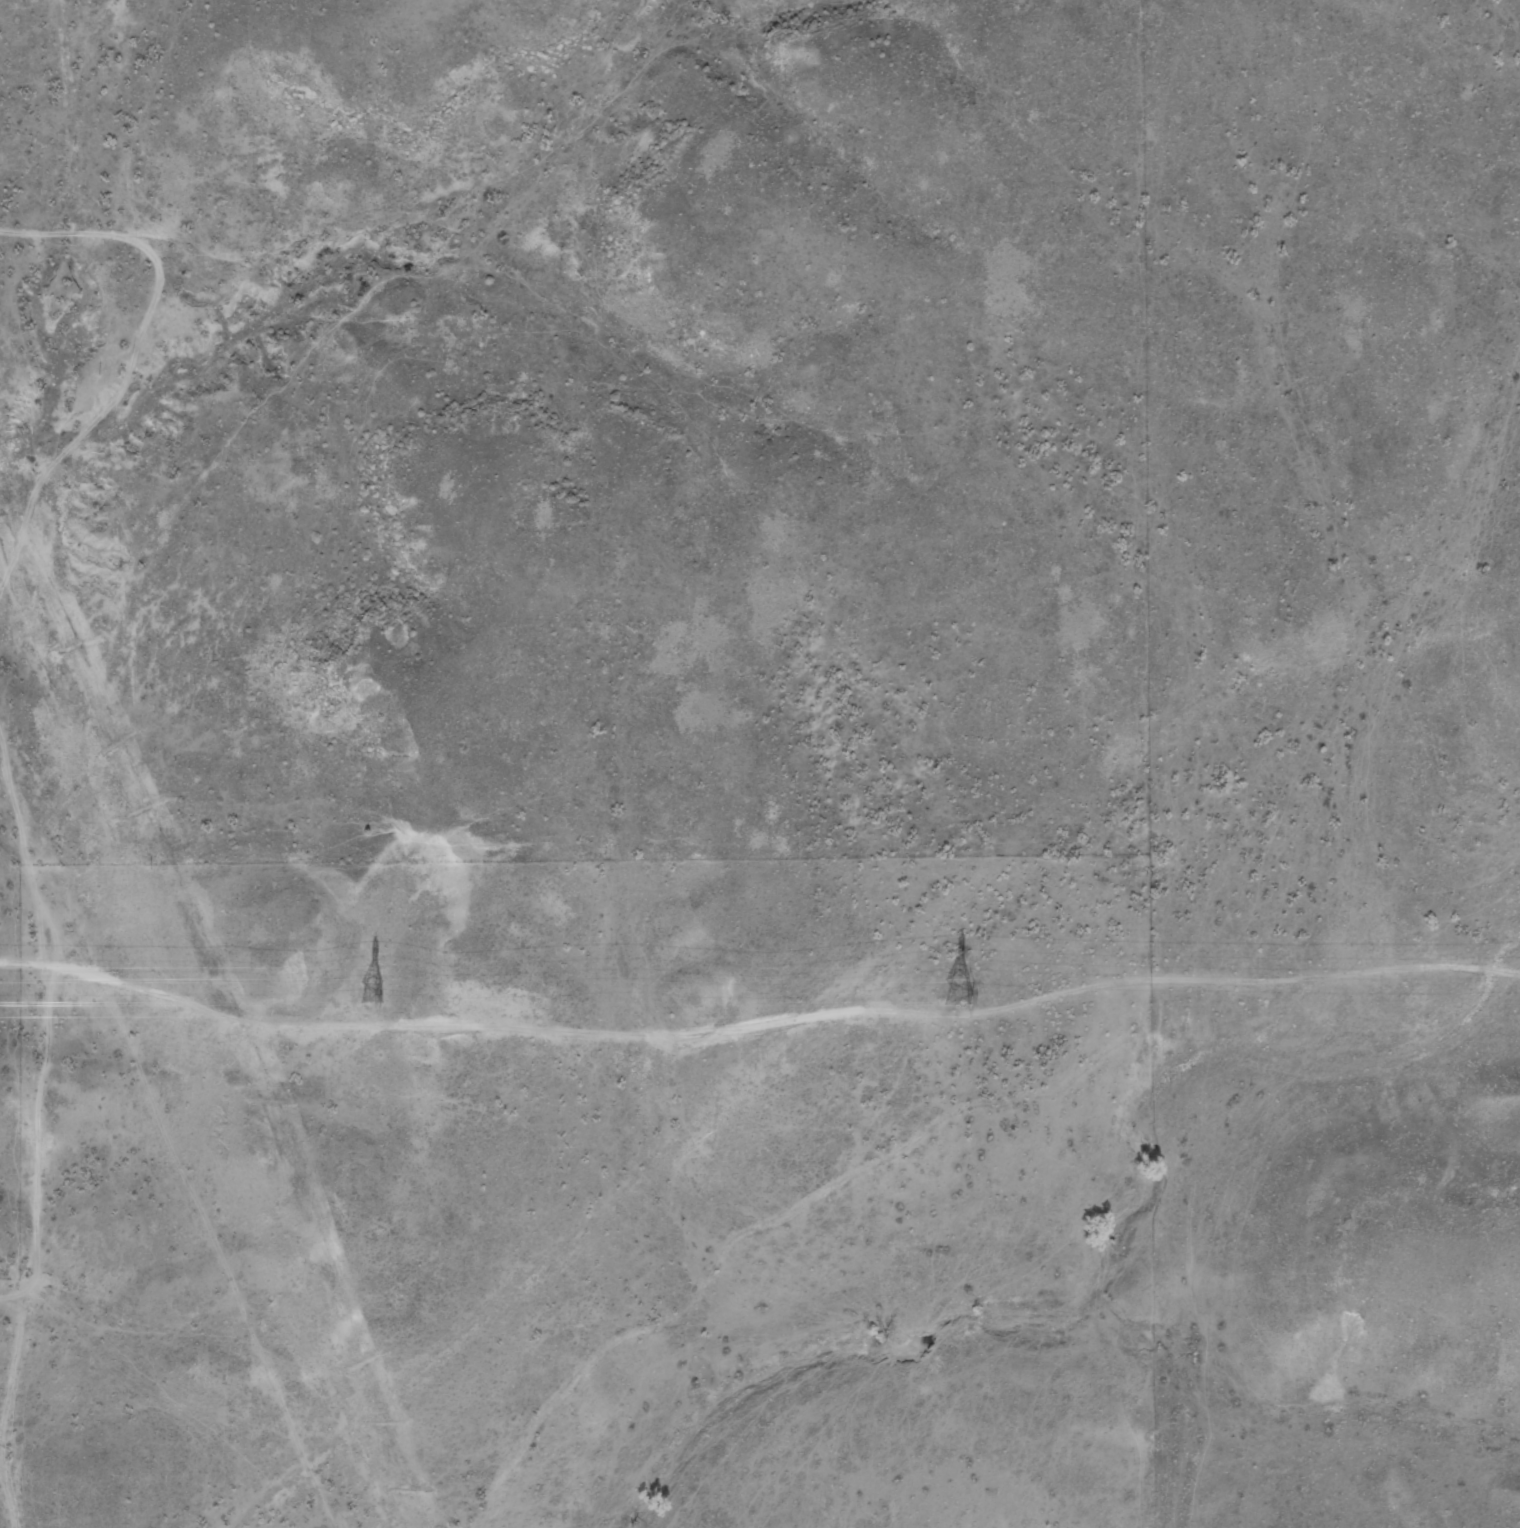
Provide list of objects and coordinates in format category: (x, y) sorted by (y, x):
power tower: (374, 992)
power tower: (959, 993)
road: (5, 1095)
road: (1452, 1479)

